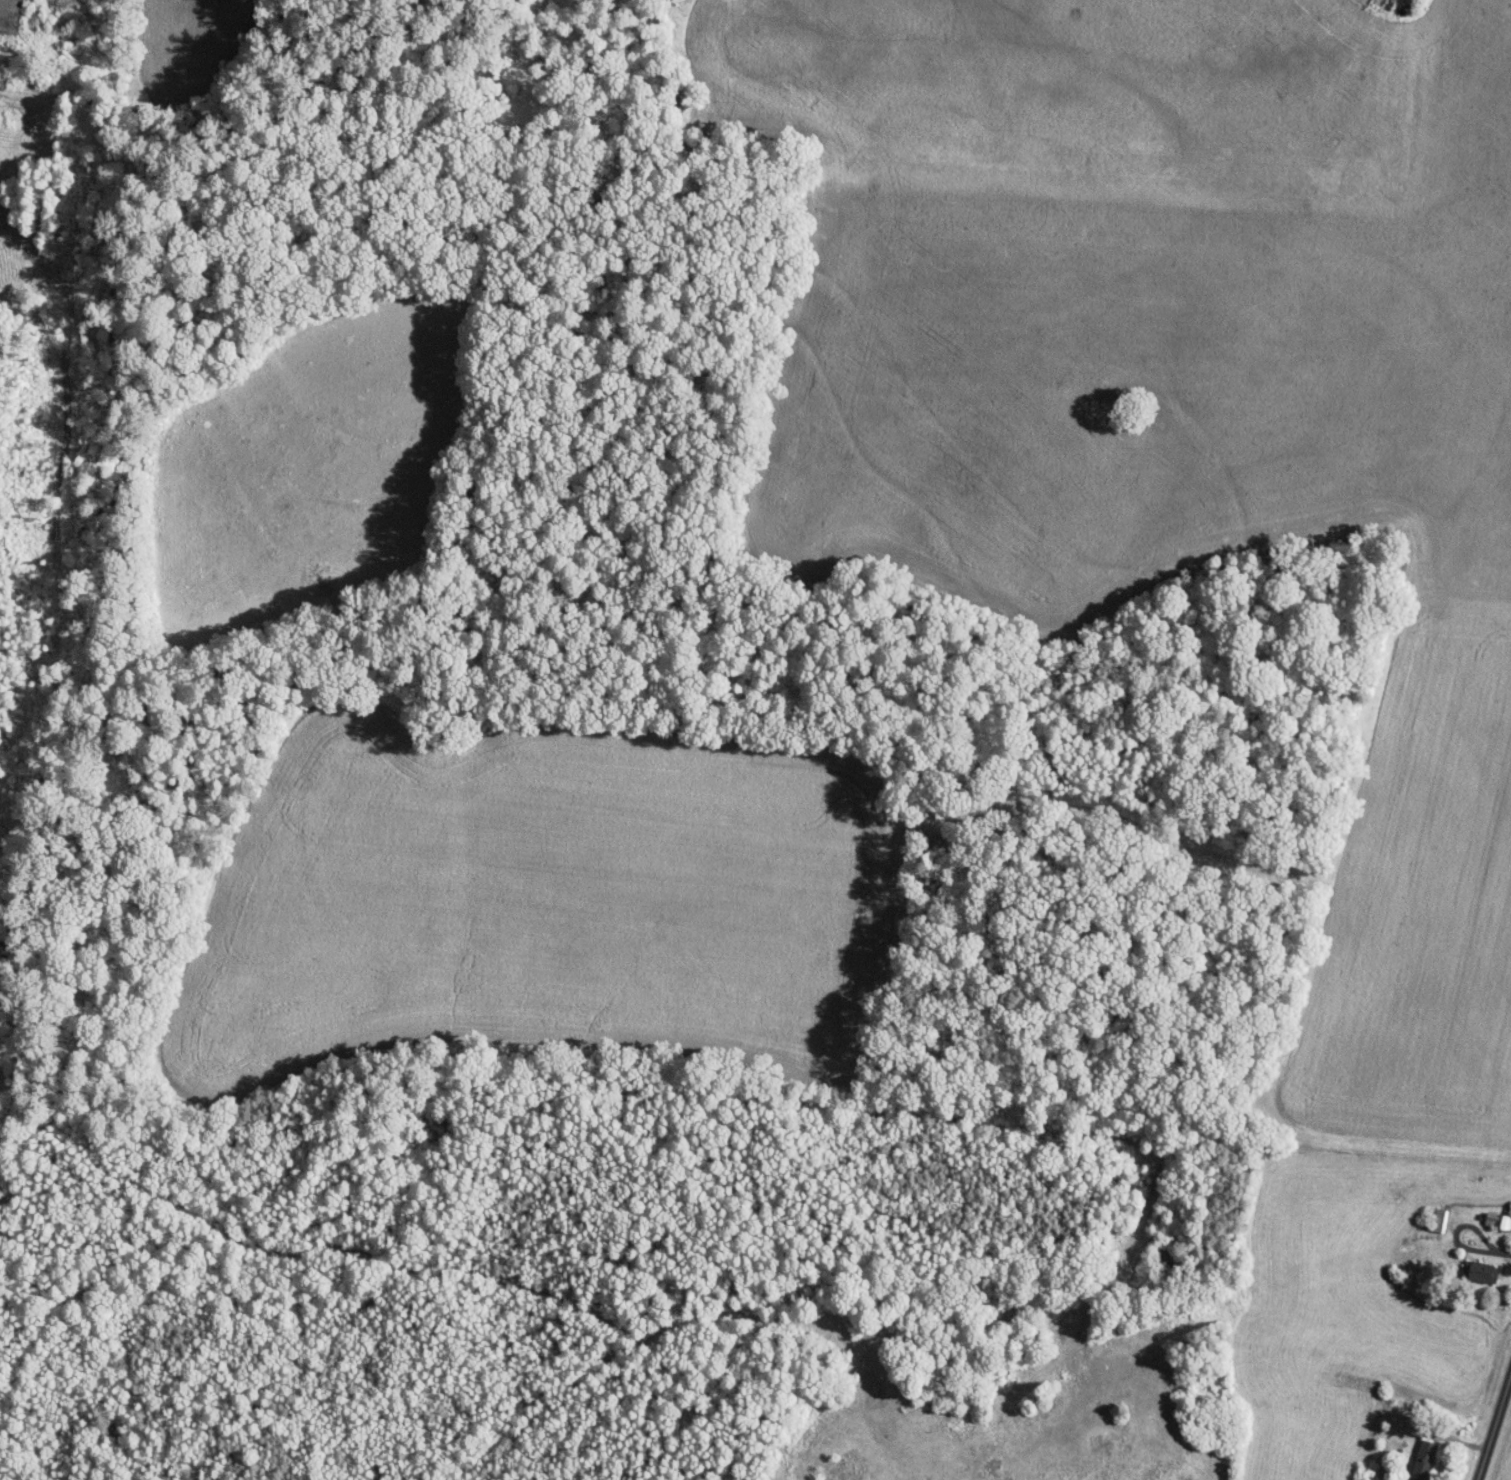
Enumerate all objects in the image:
building: (1440, 1219)
building: (1498, 1219)
road: (1496, 1267)
building: (1486, 1272)
road: (1496, 1289)
road: (1492, 1419)
building: (1414, 1426)
road: (1453, 1450)
building: (1424, 1459)

